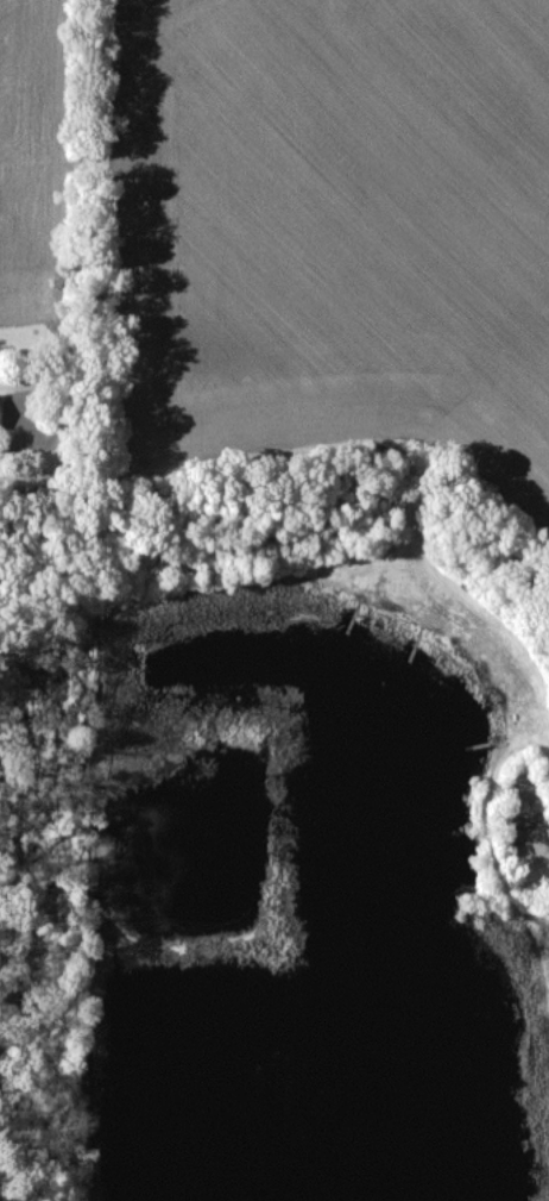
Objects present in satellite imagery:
building: (0, 418)

